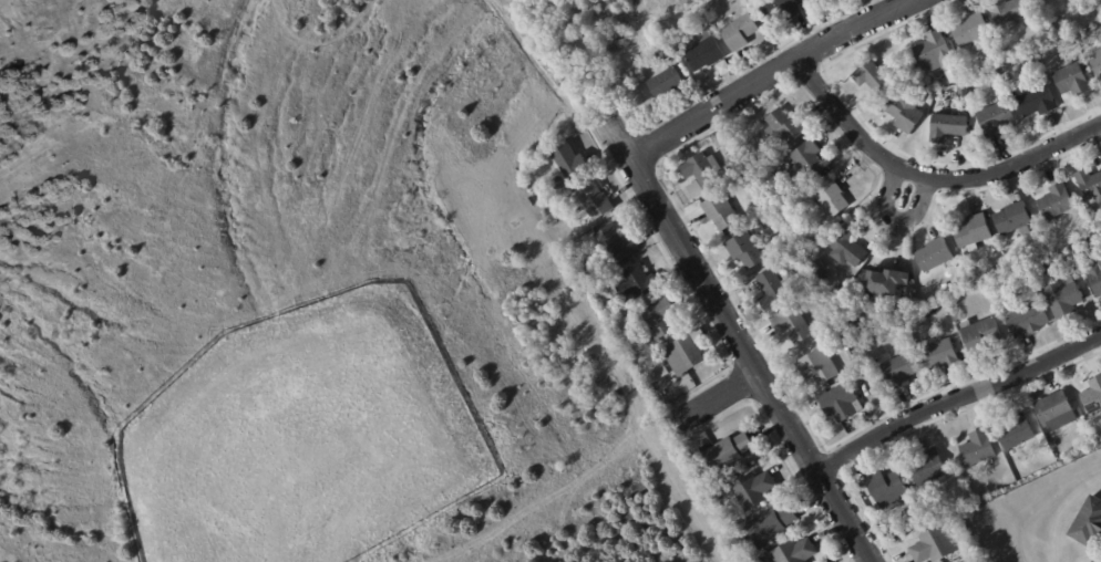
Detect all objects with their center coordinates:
building: (783, 9)
building: (1011, 10)
building: (974, 30)
building: (667, 31)
building: (741, 31)
building: (706, 51)
building: (939, 55)
building: (661, 60)
building: (1098, 63)
road: (536, 67)
road: (766, 72)
building: (874, 79)
building: (1074, 80)
building: (668, 83)
building: (924, 85)
building: (965, 93)
building: (1038, 102)
building: (961, 111)
building: (907, 112)
building: (998, 118)
building: (949, 127)
building: (785, 128)
building: (765, 155)
building: (810, 160)
building: (572, 163)
building: (742, 166)
building: (702, 174)
road: (927, 177)
building: (1091, 184)
building: (833, 198)
building: (596, 201)
building: (1058, 201)
building: (721, 211)
road: (893, 217)
building: (1016, 219)
building: (1089, 231)
building: (975, 232)
building: (1073, 237)
building: (1094, 239)
building: (617, 243)
building: (790, 243)
building: (848, 248)
building: (747, 251)
building: (936, 256)
building: (1100, 262)
building: (1045, 263)
building: (800, 266)
building: (1006, 267)
building: (1097, 278)
building: (638, 282)
building: (886, 283)
building: (775, 289)
building: (795, 293)
building: (1066, 299)
building: (659, 320)
building: (1028, 321)
building: (793, 325)
building: (855, 325)
building: (823, 334)
building: (982, 335)
road: (734, 340)
building: (851, 350)
building: (687, 353)
building: (943, 355)
building: (820, 366)
building: (903, 371)
building: (659, 374)
road: (712, 396)
road: (955, 397)
building: (1093, 397)
building: (841, 403)
building: (1058, 410)
building: (858, 424)
building: (1018, 433)
building: (1053, 444)
building: (980, 448)
building: (729, 451)
building: (930, 467)
building: (1036, 468)
building: (889, 486)
building: (754, 488)
building: (924, 513)
building: (772, 523)
building: (1090, 524)
building: (750, 544)
building: (934, 544)
building: (796, 551)
building: (757, 559)
building: (969, 560)
building: (1088, 561)

